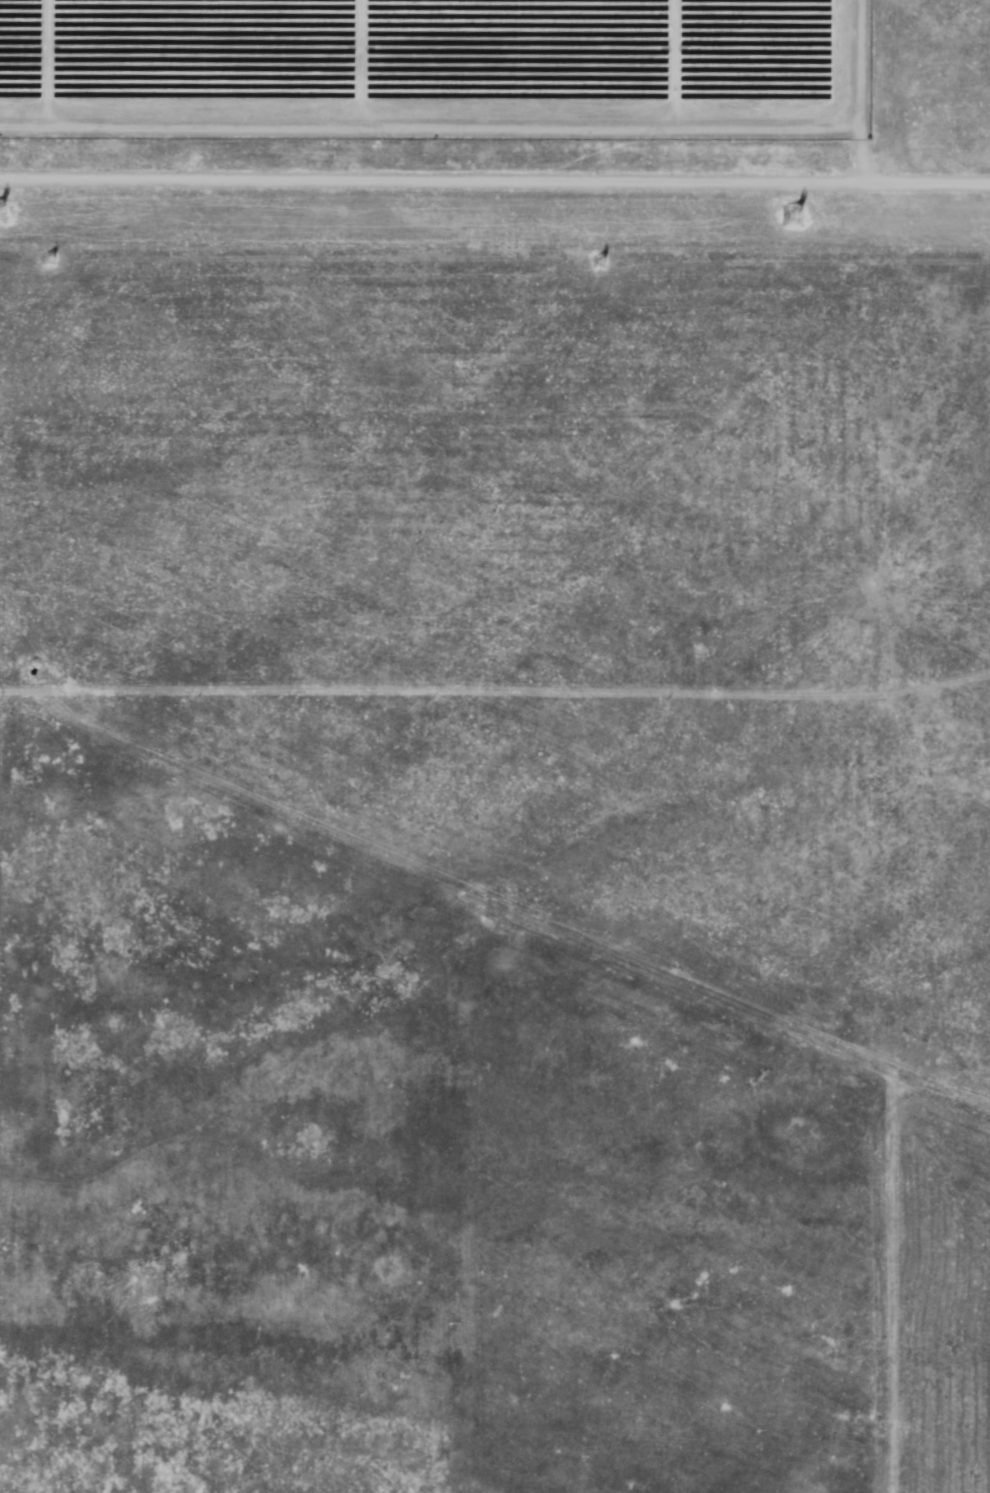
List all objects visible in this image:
solar farm: (497, 121)
power tower: (788, 215)
power tower: (50, 262)
power tower: (604, 265)

